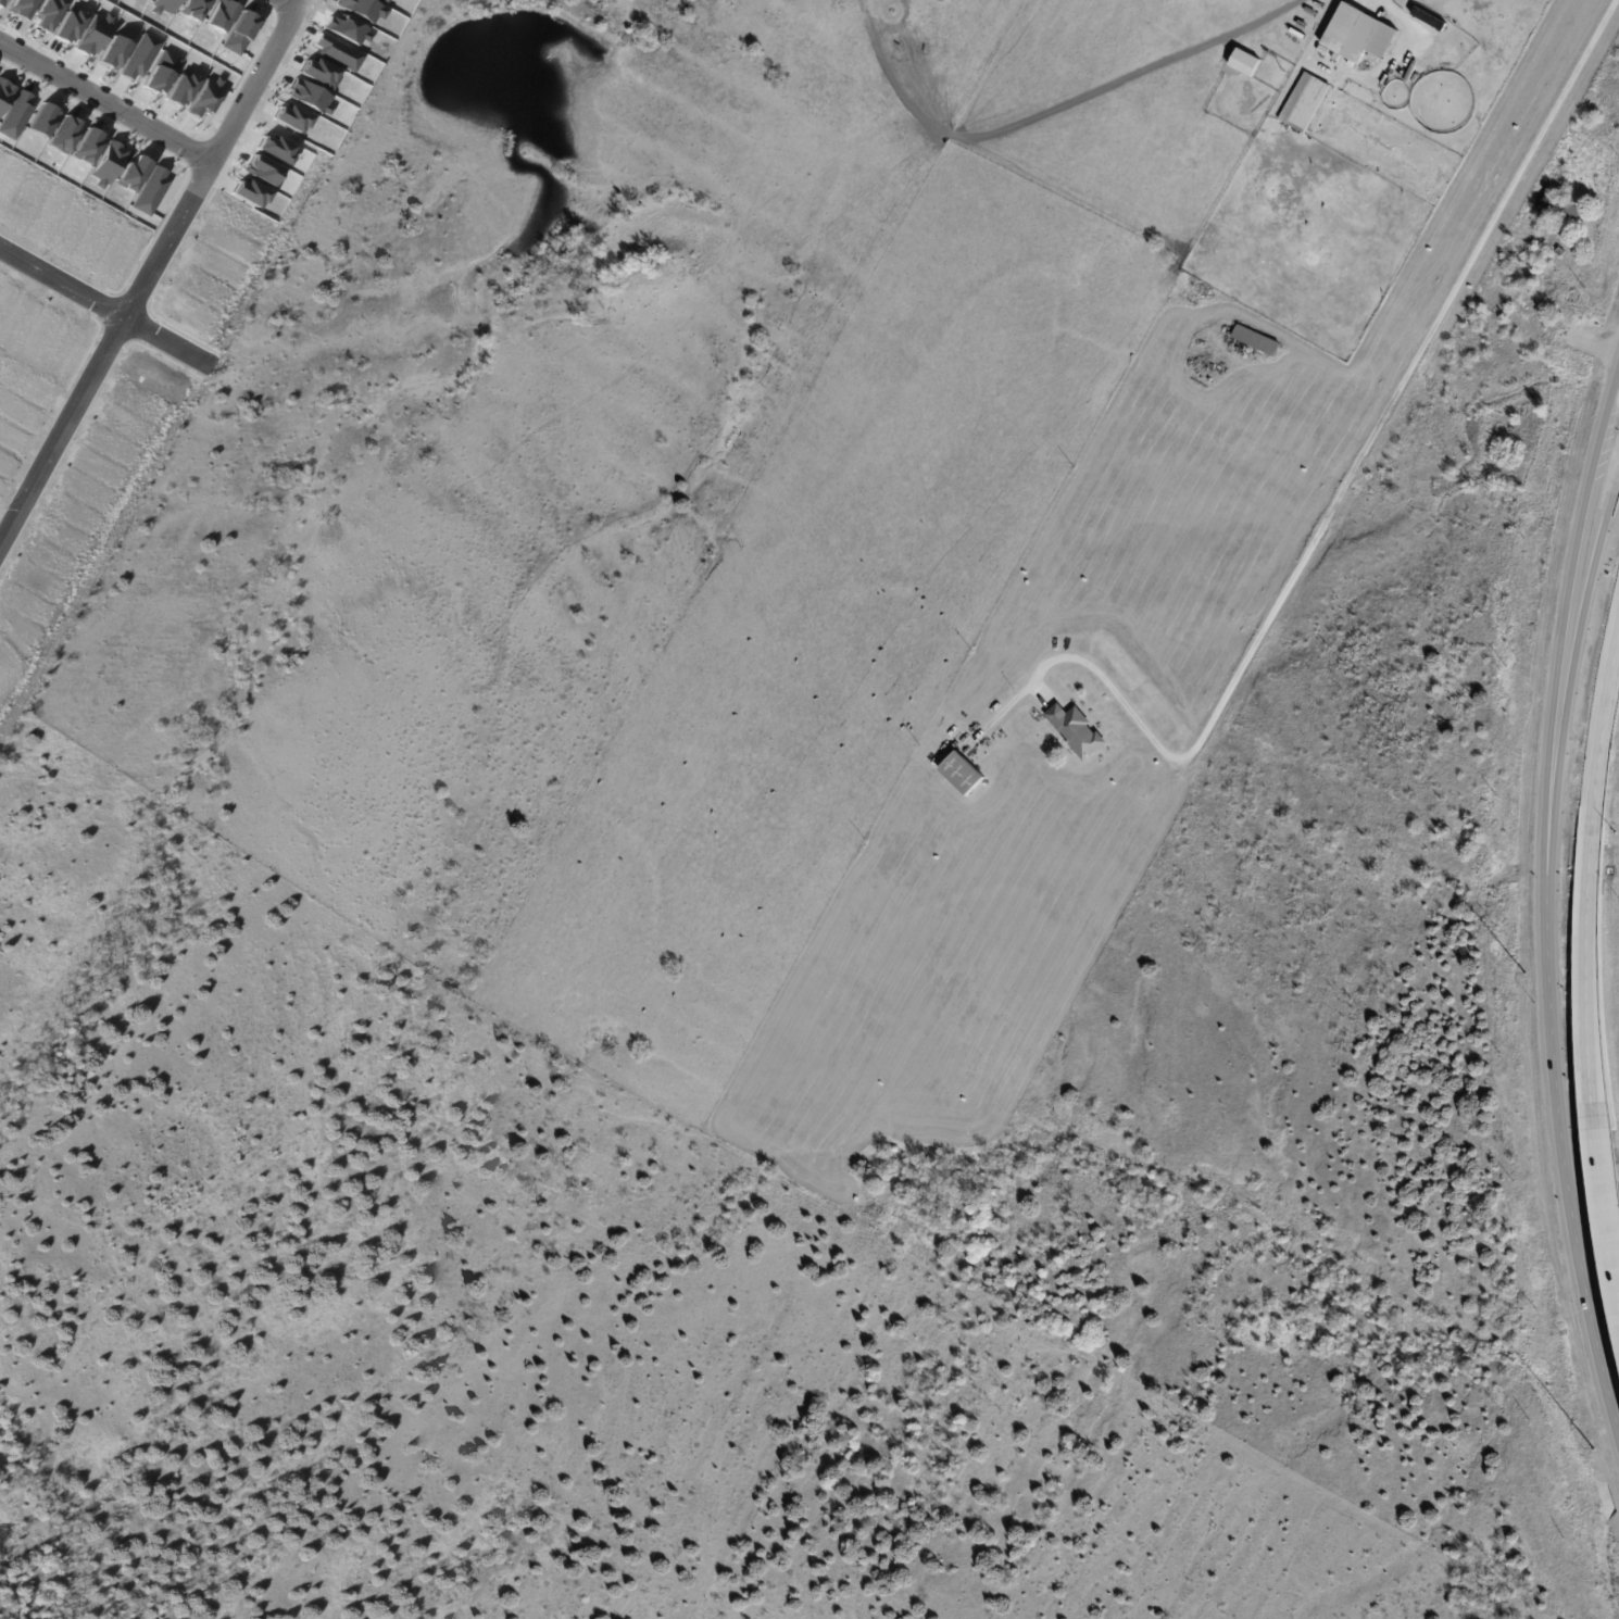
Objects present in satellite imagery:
road: (302, 1)
building: (388, 1)
building: (3, 2)
building: (164, 5)
building: (23, 8)
building: (192, 9)
building: (366, 10)
building: (48, 14)
building: (218, 14)
building: (71, 25)
building: (351, 30)
building: (239, 33)
building: (93, 34)
building: (1359, 36)
building: (1325, 51)
building: (115, 52)
building: (340, 53)
building: (140, 57)
building: (1245, 63)
building: (322, 71)
building: (162, 73)
building: (184, 89)
building: (4, 95)
road: (109, 95)
building: (311, 97)
building: (208, 98)
building: (1307, 104)
building: (15, 114)
building: (293, 117)
building: (43, 121)
building: (65, 135)
building: (88, 147)
building: (278, 147)
building: (108, 161)
building: (265, 171)
building: (131, 173)
building: (151, 190)
building: (252, 194)
building: (1561, 211)
building: (1562, 254)
road: (153, 276)
road: (102, 296)
building: (1479, 316)
building: (1257, 341)
road: (1366, 447)
road: (1590, 564)
road: (1599, 719)
building: (1078, 732)
building: (963, 774)
road: (1544, 912)
road: (1589, 1063)

